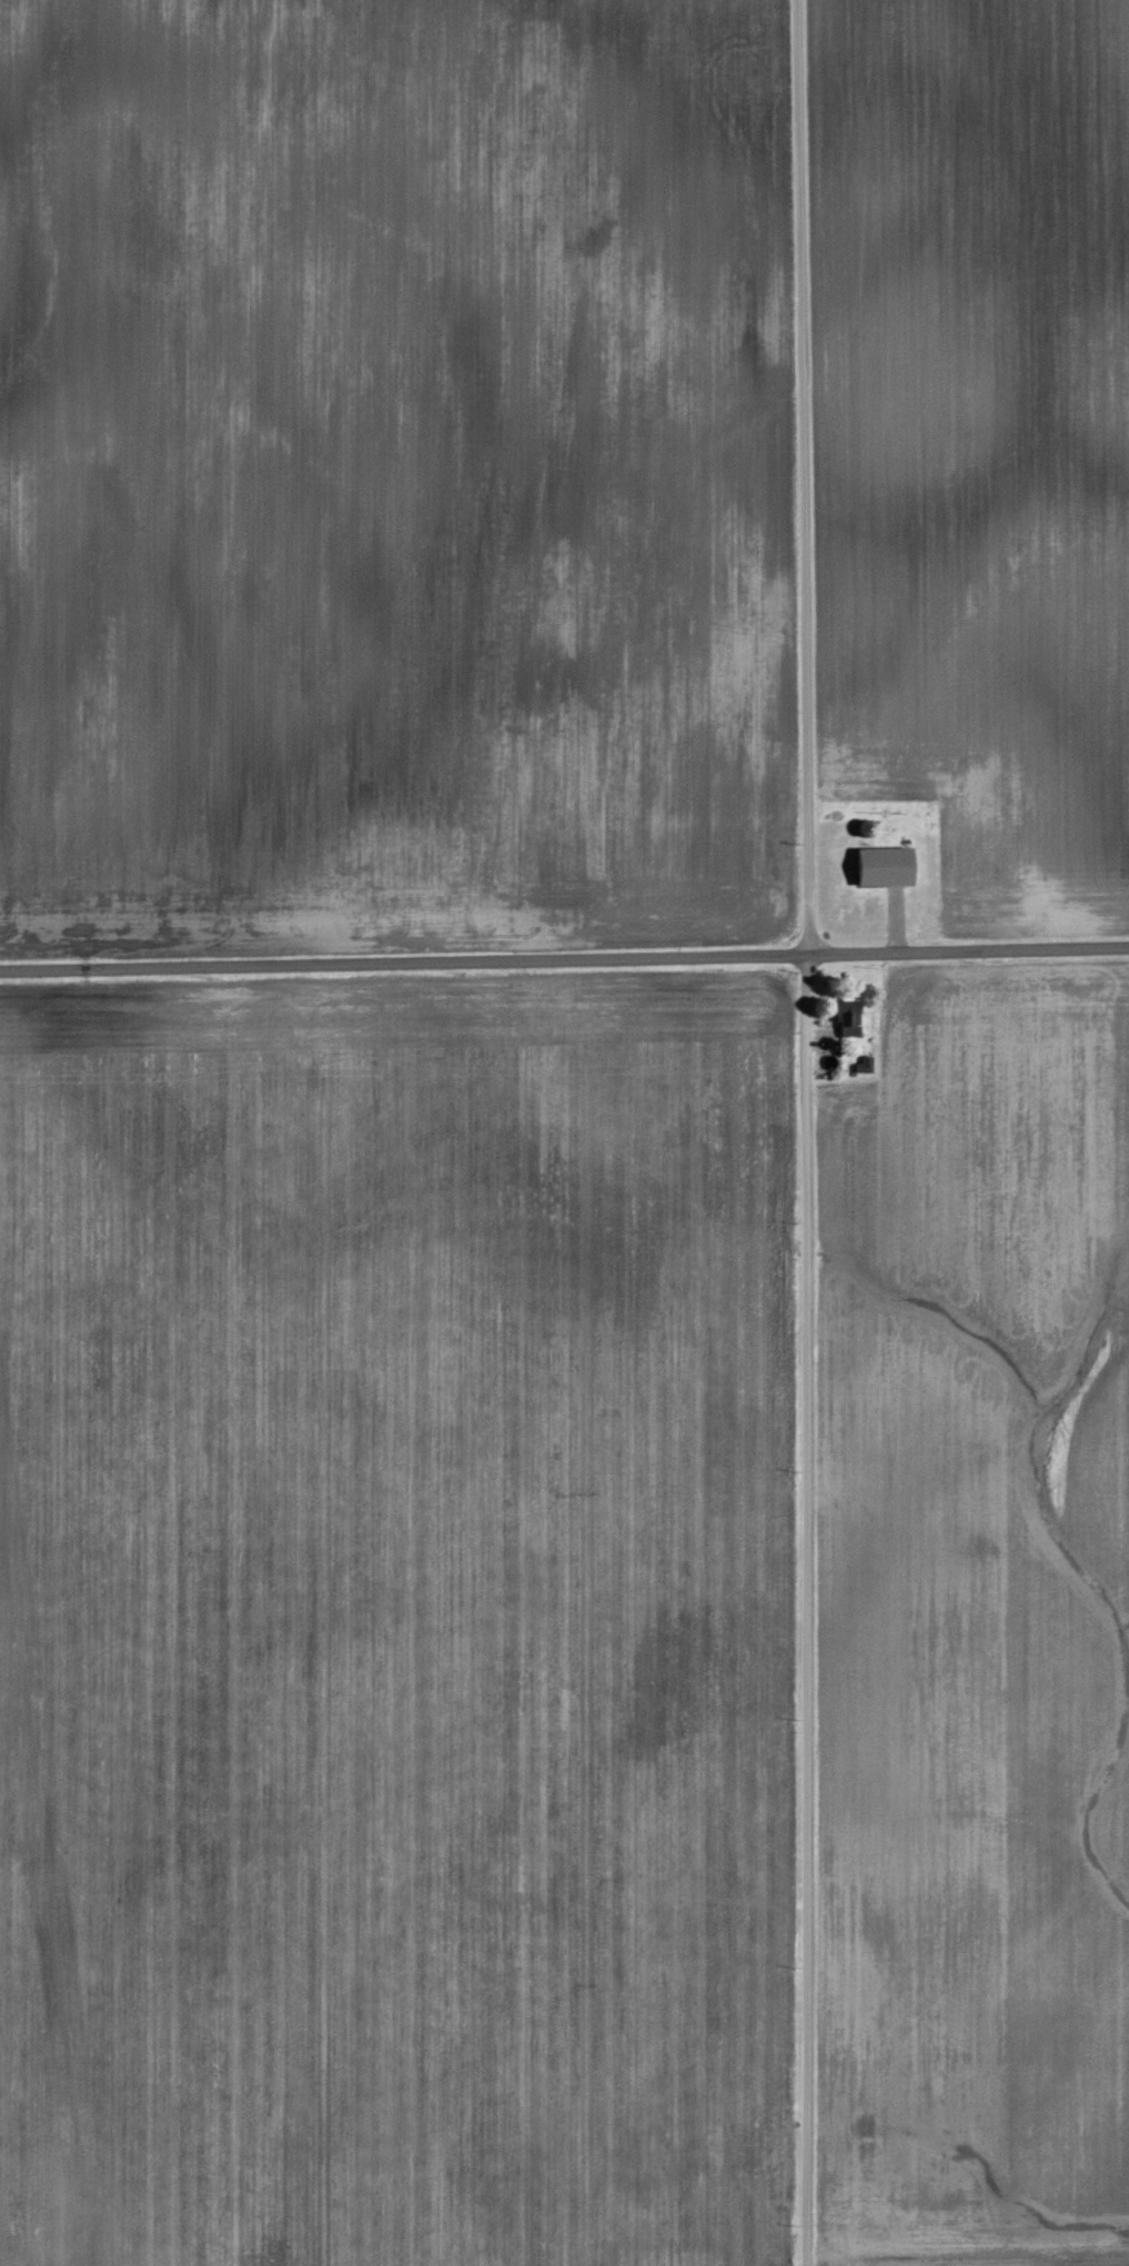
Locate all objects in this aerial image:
building: (877, 866)
road: (564, 957)
building: (843, 1019)
building: (860, 1065)
road: (805, 1132)

